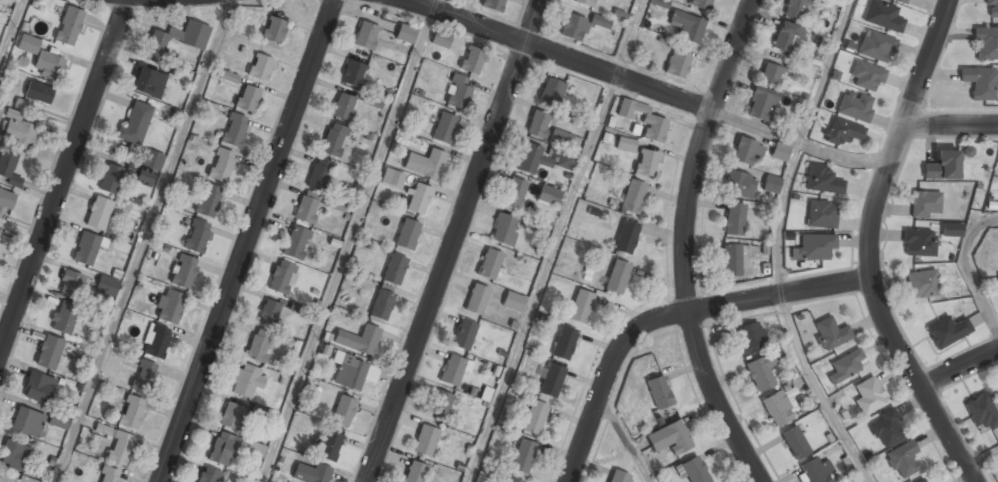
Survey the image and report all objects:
building: (902, 1)
building: (584, 2)
building: (660, 3)
road: (436, 4)
building: (701, 4)
building: (494, 5)
building: (991, 8)
building: (800, 9)
building: (883, 16)
building: (68, 25)
building: (579, 26)
building: (687, 27)
road: (10, 28)
building: (273, 29)
building: (405, 33)
building: (365, 36)
road: (629, 37)
building: (177, 38)
building: (787, 38)
building: (440, 40)
building: (986, 44)
building: (876, 47)
road: (558, 53)
building: (41, 58)
building: (471, 61)
road: (926, 64)
building: (677, 65)
building: (260, 66)
building: (353, 73)
building: (771, 74)
building: (866, 74)
building: (228, 77)
building: (149, 82)
building: (980, 83)
building: (551, 91)
building: (458, 92)
building: (39, 93)
building: (247, 98)
building: (371, 101)
building: (760, 104)
building: (855, 105)
building: (343, 107)
building: (135, 124)
building: (538, 125)
building: (654, 127)
road: (950, 127)
building: (445, 129)
building: (16, 130)
building: (234, 130)
building: (842, 133)
building: (561, 139)
building: (333, 140)
road: (796, 143)
road: (800, 143)
building: (626, 144)
building: (747, 151)
building: (779, 153)
building: (542, 159)
building: (427, 164)
building: (646, 164)
building: (220, 165)
building: (941, 166)
building: (149, 167)
building: (8, 168)
building: (319, 174)
road: (63, 177)
building: (392, 178)
building: (110, 179)
building: (823, 180)
building: (771, 184)
building: (740, 185)
building: (514, 194)
building: (549, 195)
building: (633, 197)
building: (419, 199)
building: (6, 200)
building: (209, 201)
building: (924, 204)
building: (335, 205)
building: (307, 208)
building: (98, 213)
building: (821, 214)
building: (734, 220)
building: (504, 230)
building: (951, 230)
building: (407, 234)
building: (197, 236)
building: (626, 238)
road: (142, 241)
road: (248, 241)
road: (453, 241)
building: (296, 243)
road: (684, 243)
building: (919, 243)
road: (349, 245)
building: (814, 247)
building: (86, 248)
building: (731, 260)
building: (489, 264)
building: (394, 268)
road: (967, 268)
building: (183, 271)
building: (281, 277)
building: (617, 277)
road: (542, 278)
building: (997, 283)
building: (70, 284)
building: (922, 284)
building: (106, 287)
building: (477, 299)
building: (383, 301)
building: (513, 302)
building: (581, 306)
building: (169, 307)
building: (268, 313)
road: (670, 314)
road: (879, 314)
building: (64, 317)
building: (947, 332)
building: (464, 334)
building: (830, 334)
building: (368, 339)
building: (750, 339)
building: (156, 341)
building: (564, 343)
building: (258, 347)
building: (49, 353)
building: (845, 366)
road: (958, 367)
building: (452, 370)
building: (762, 370)
building: (349, 372)
building: (144, 376)
building: (551, 379)
building: (246, 381)
building: (39, 388)
road: (817, 391)
building: (997, 391)
building: (659, 392)
building: (869, 395)
building: (441, 405)
building: (777, 409)
building: (343, 411)
building: (132, 412)
building: (982, 412)
building: (263, 413)
building: (232, 416)
building: (535, 418)
building: (58, 421)
building: (28, 422)
building: (885, 428)
building: (670, 438)
road: (624, 440)
building: (425, 441)
building: (794, 443)
building: (118, 446)
building: (326, 446)
building: (223, 449)
building: (255, 452)
building: (13, 456)
building: (523, 456)
building: (902, 458)
road: (981, 460)
building: (693, 470)
building: (814, 471)
building: (414, 472)
building: (312, 473)
building: (109, 475)
building: (209, 475)
building: (619, 477)
building: (3, 479)
building: (513, 480)
building: (920, 480)

